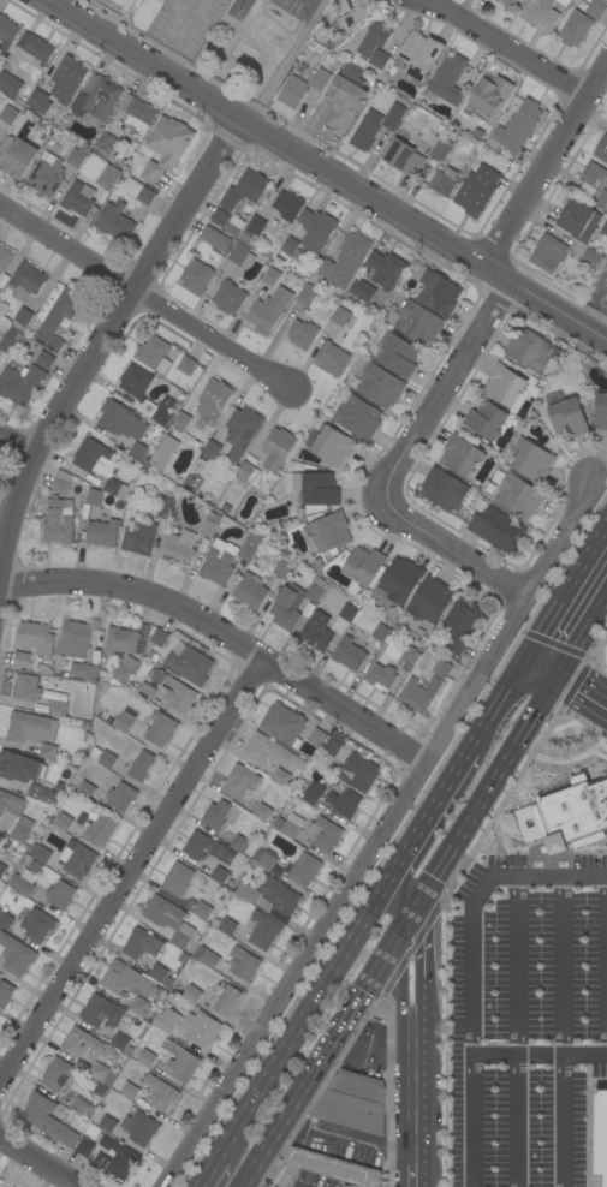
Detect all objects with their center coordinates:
building: (510, 2)
building: (564, 2)
building: (124, 5)
building: (595, 8)
building: (355, 12)
building: (540, 13)
building: (575, 28)
building: (7, 31)
road: (181, 34)
building: (370, 37)
building: (35, 49)
road: (504, 52)
building: (419, 55)
building: (379, 59)
road: (286, 60)
building: (67, 79)
building: (320, 79)
building: (447, 79)
building: (10, 84)
building: (487, 88)
building: (292, 93)
building: (476, 96)
building: (96, 99)
building: (345, 100)
building: (40, 102)
building: (10, 113)
building: (136, 115)
building: (489, 115)
building: (393, 117)
building: (518, 126)
building: (367, 130)
building: (105, 144)
building: (166, 145)
building: (441, 148)
building: (601, 150)
building: (17, 156)
building: (76, 157)
building: (404, 157)
road: (547, 163)
road: (328, 167)
building: (46, 177)
building: (111, 180)
building: (445, 180)
building: (595, 183)
building: (244, 190)
building: (139, 191)
building: (476, 191)
building: (78, 198)
building: (287, 204)
building: (606, 213)
building: (220, 217)
building: (578, 219)
building: (115, 222)
building: (256, 225)
building: (234, 227)
building: (297, 228)
building: (605, 228)
building: (316, 229)
building: (245, 237)
building: (218, 240)
building: (292, 249)
building: (548, 253)
building: (590, 257)
building: (5, 258)
building: (240, 258)
building: (349, 260)
building: (323, 267)
building: (386, 269)
building: (272, 274)
building: (196, 276)
building: (2, 279)
building: (26, 281)
building: (362, 290)
building: (0, 291)
building: (439, 292)
building: (307, 294)
road: (145, 296)
building: (228, 297)
building: (269, 310)
building: (23, 316)
building: (344, 317)
building: (59, 318)
building: (415, 322)
road: (101, 328)
building: (303, 332)
building: (8, 344)
building: (530, 350)
building: (154, 353)
building: (397, 354)
building: (332, 358)
building: (44, 360)
building: (186, 365)
building: (135, 381)
building: (20, 383)
building: (380, 386)
building: (505, 386)
road: (438, 395)
building: (553, 396)
building: (159, 410)
building: (208, 410)
building: (601, 411)
building: (358, 417)
building: (567, 417)
building: (486, 419)
building: (121, 420)
building: (179, 425)
building: (240, 431)
road: (17, 439)
building: (333, 445)
building: (278, 448)
building: (210, 449)
building: (141, 452)
building: (163, 452)
building: (460, 455)
building: (95, 458)
building: (531, 460)
building: (298, 466)
building: (244, 472)
building: (61, 482)
building: (117, 489)
building: (316, 489)
building: (444, 489)
building: (518, 495)
building: (94, 496)
building: (165, 507)
building: (314, 511)
building: (59, 521)
building: (208, 527)
building: (498, 530)
road: (606, 530)
building: (103, 533)
building: (327, 533)
building: (139, 537)
building: (202, 545)
building: (179, 548)
building: (249, 548)
road: (463, 555)
building: (197, 560)
building: (218, 565)
building: (364, 566)
building: (282, 569)
building: (398, 581)
road: (572, 585)
building: (250, 590)
building: (430, 600)
building: (294, 602)
building: (344, 619)
building: (462, 624)
road: (583, 630)
building: (317, 632)
building: (381, 633)
building: (36, 637)
building: (157, 637)
building: (75, 638)
building: (184, 638)
building: (120, 640)
road: (222, 640)
road: (534, 646)
building: (350, 654)
building: (411, 655)
traffic signals: (529, 655)
building: (153, 656)
building: (22, 660)
road: (543, 662)
building: (189, 663)
road: (522, 666)
traffic signals: (559, 669)
building: (85, 670)
building: (124, 670)
building: (381, 676)
traffic signals: (514, 676)
road: (552, 680)
building: (151, 682)
road: (583, 682)
road: (530, 684)
building: (26, 687)
building: (412, 687)
traffic signals: (546, 691)
building: (178, 694)
building: (54, 696)
road: (576, 705)
building: (36, 706)
building: (58, 708)
building: (130, 712)
road: (488, 716)
building: (123, 723)
building: (282, 724)
building: (31, 728)
building: (161, 729)
building: (317, 738)
building: (47, 751)
building: (270, 751)
building: (333, 752)
building: (107, 759)
building: (142, 765)
building: (20, 767)
building: (358, 771)
building: (61, 776)
building: (280, 776)
building: (240, 781)
building: (338, 788)
building: (85, 789)
building: (313, 793)
building: (43, 794)
building: (121, 797)
road: (481, 797)
road: (438, 798)
building: (10, 803)
building: (344, 803)
building: (263, 812)
building: (216, 815)
building: (566, 816)
building: (63, 822)
building: (288, 825)
building: (22, 829)
building: (100, 829)
road: (487, 829)
building: (322, 834)
road: (380, 834)
building: (1, 839)
building: (239, 843)
building: (207, 848)
building: (40, 854)
building: (78, 859)
building: (263, 859)
building: (34, 866)
building: (303, 869)
building: (2, 870)
road: (129, 872)
building: (220, 875)
building: (178, 878)
building: (23, 883)
road: (397, 887)
building: (250, 894)
building: (60, 895)
building: (280, 895)
traffic signals: (394, 895)
building: (202, 911)
building: (5, 920)
building: (168, 920)
road: (410, 920)
road: (606, 924)
building: (37, 925)
building: (226, 926)
building: (263, 931)
building: (142, 943)
traffic signals: (423, 943)
road: (400, 950)
building: (200, 952)
road: (422, 954)
building: (16, 955)
building: (210, 960)
building: (243, 964)
road: (317, 964)
road: (564, 967)
building: (157, 972)
road: (472, 972)
building: (126, 979)
building: (236, 980)
building: (5, 992)
traffic signals: (365, 992)
building: (191, 994)
road: (315, 997)
building: (225, 998)
road: (401, 1001)
building: (138, 1006)
building: (101, 1012)
road: (407, 1014)
building: (166, 1020)
building: (201, 1028)
road: (517, 1033)
road: (418, 1034)
building: (120, 1042)
building: (84, 1045)
building: (171, 1046)
road: (538, 1054)
building: (145, 1058)
road: (321, 1062)
building: (183, 1066)
building: (58, 1074)
building: (102, 1074)
road: (597, 1081)
building: (129, 1091)
building: (161, 1093)
building: (355, 1102)
building: (83, 1109)
road: (415, 1114)
building: (48, 1120)
road: (564, 1120)
road: (587, 1120)
building: (107, 1123)
building: (139, 1127)
building: (601, 1132)
road: (350, 1134)
building: (84, 1147)
building: (119, 1158)
road: (38, 1162)
building: (325, 1169)
road: (208, 1171)
road: (413, 1175)
building: (2, 1186)

